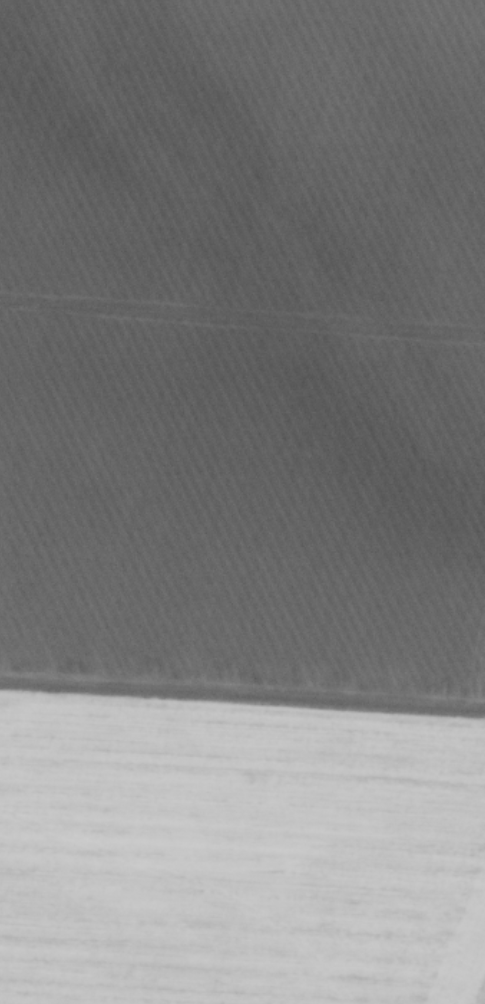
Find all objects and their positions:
road: (242, 315)
crop: (242, 501)
road: (242, 702)

